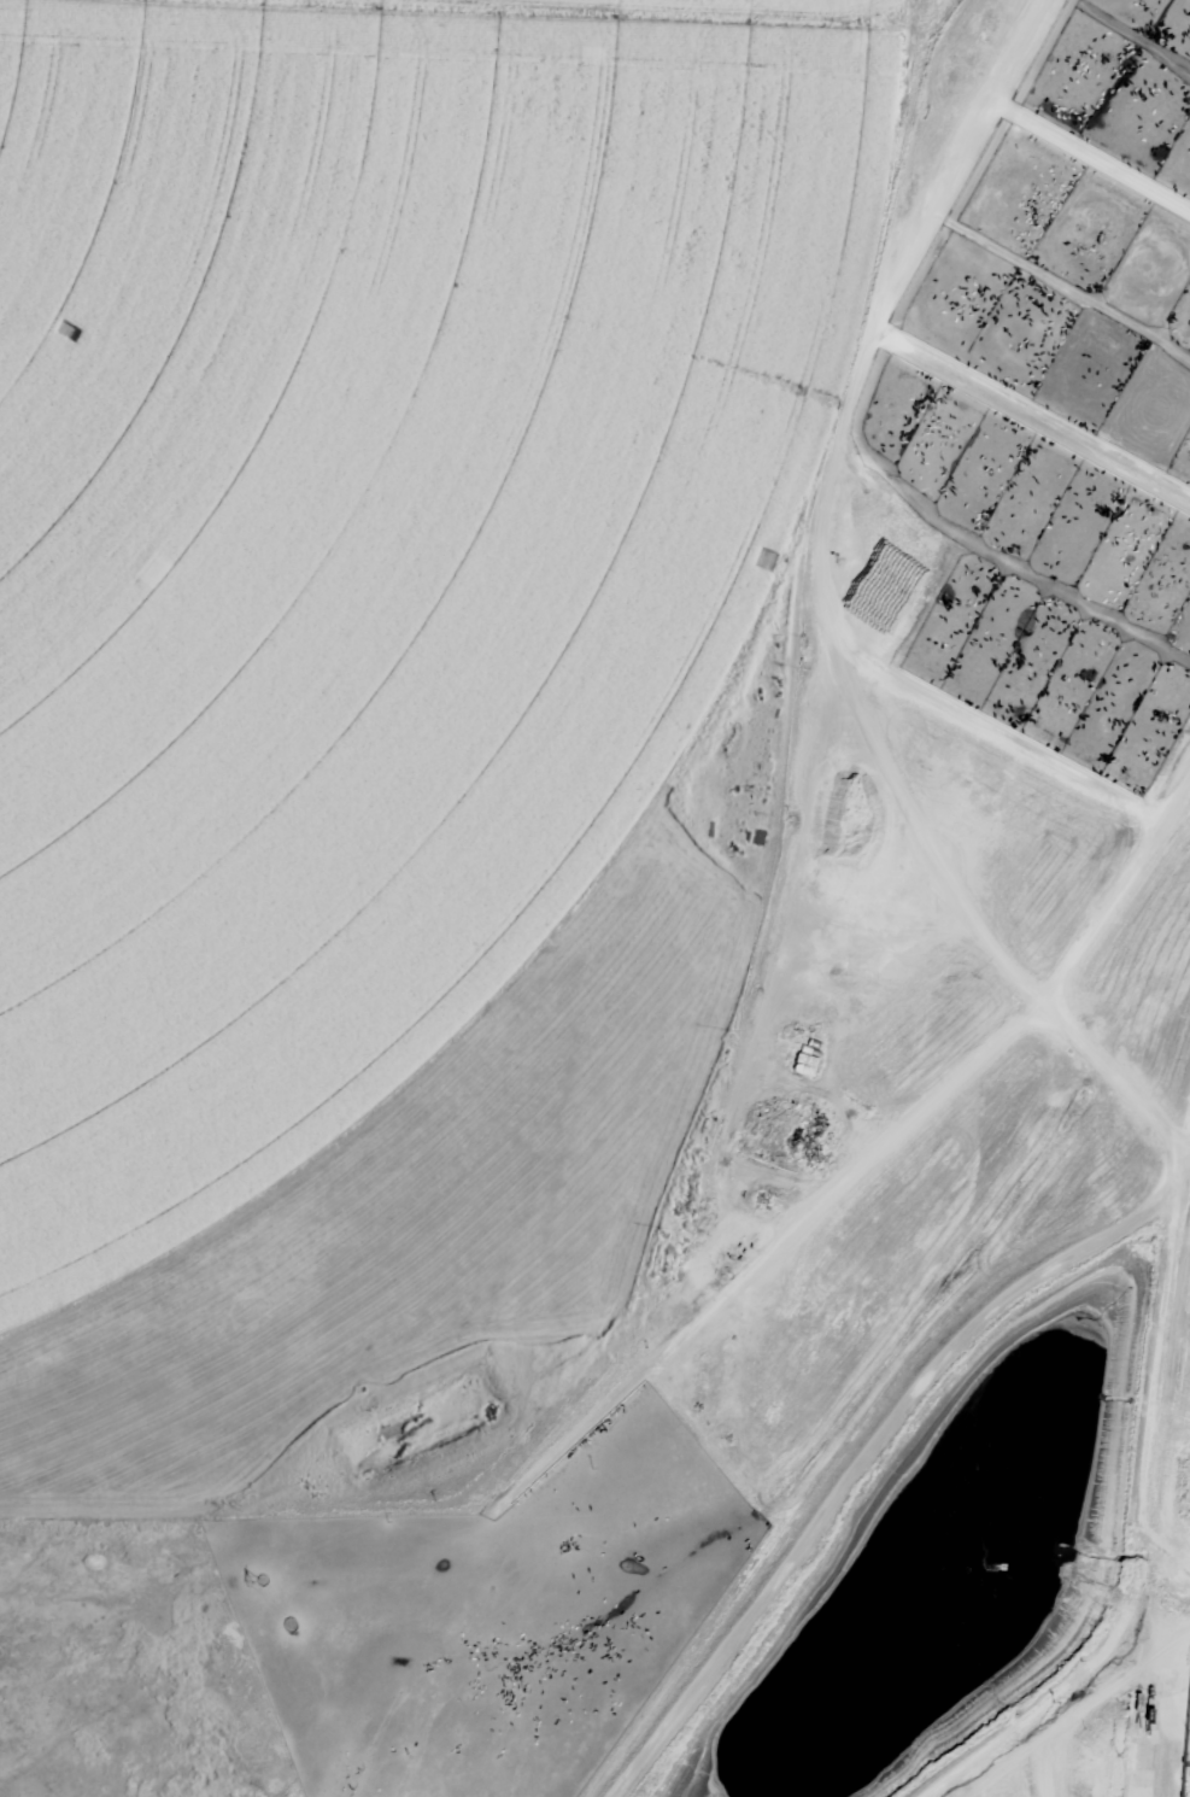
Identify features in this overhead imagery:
road: (1057, 1710)

